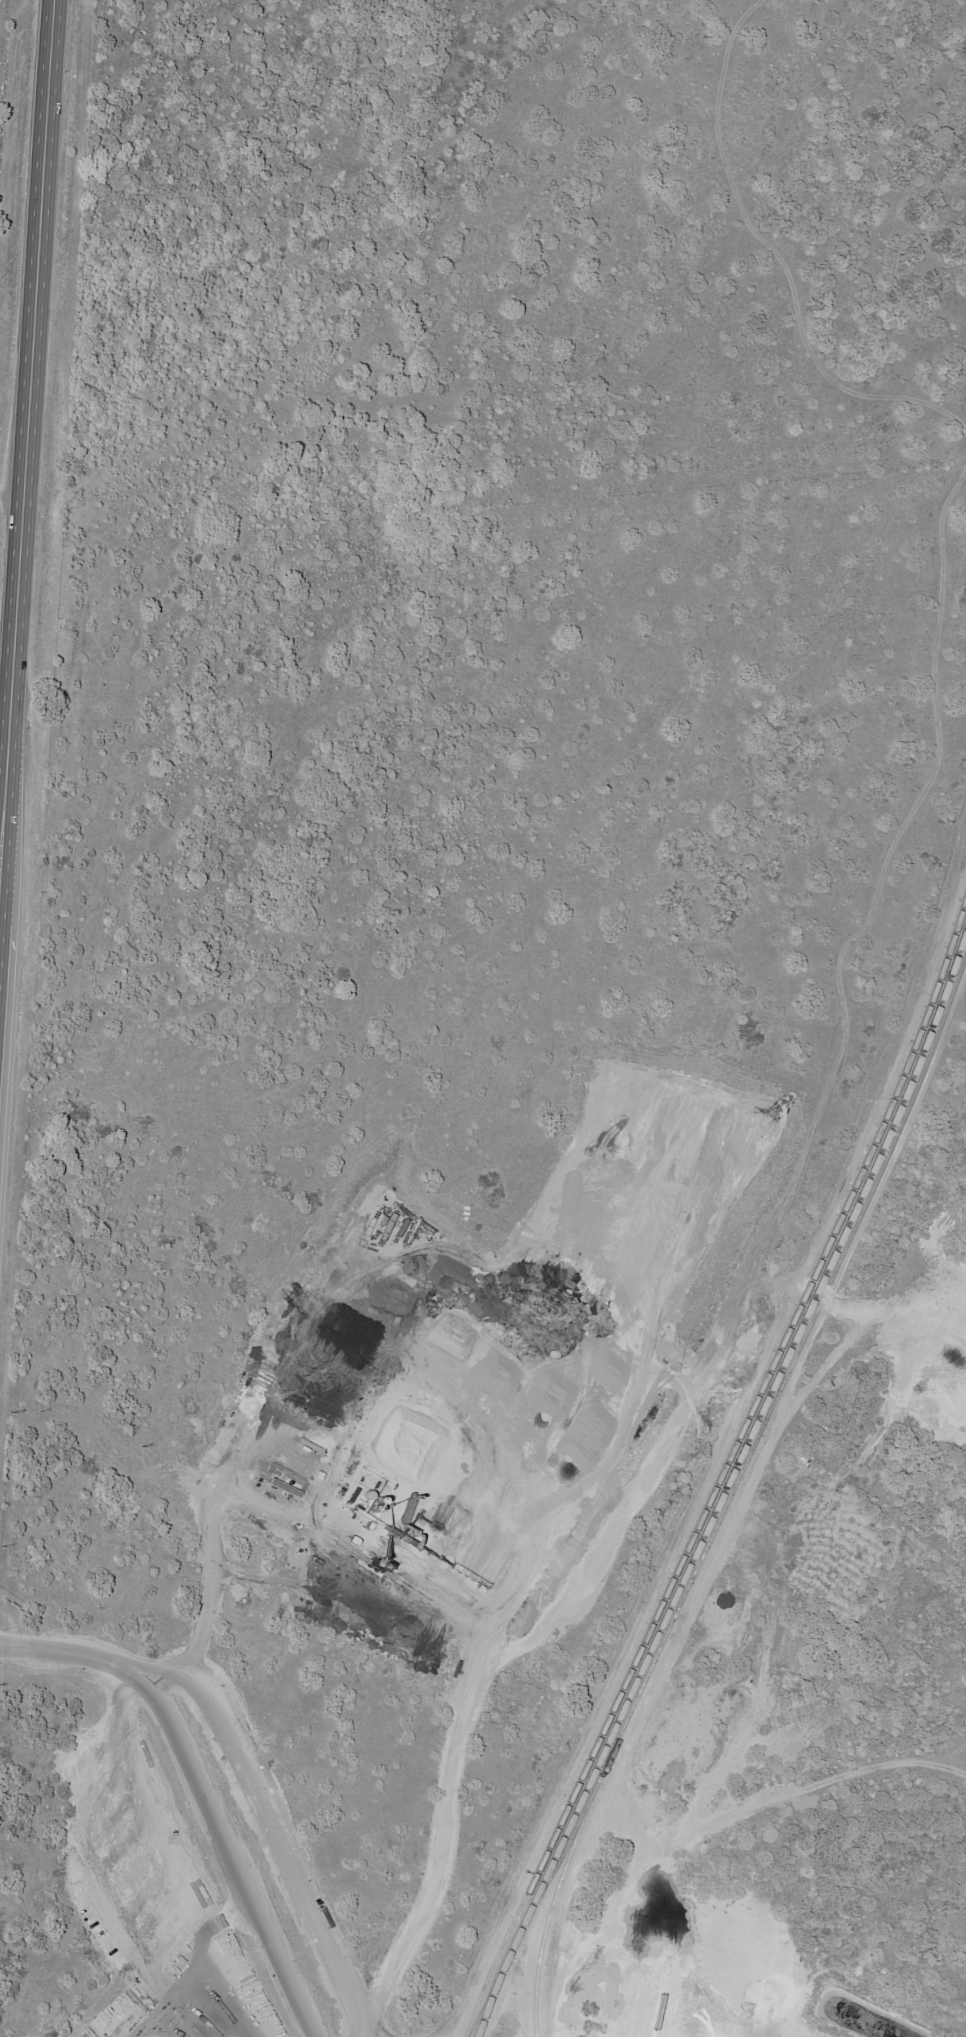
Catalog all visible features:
road: (25, 422)
road: (682, 1419)
road: (779, 1422)
railway: (722, 1464)
railway: (725, 1483)
railway: (733, 1489)
road: (605, 1680)
road: (196, 1793)
road: (799, 1802)
road: (265, 1828)
railway: (555, 1863)
road: (639, 1947)
road: (209, 1959)
quarry: (698, 1985)
railway: (486, 2004)
road: (376, 2025)

